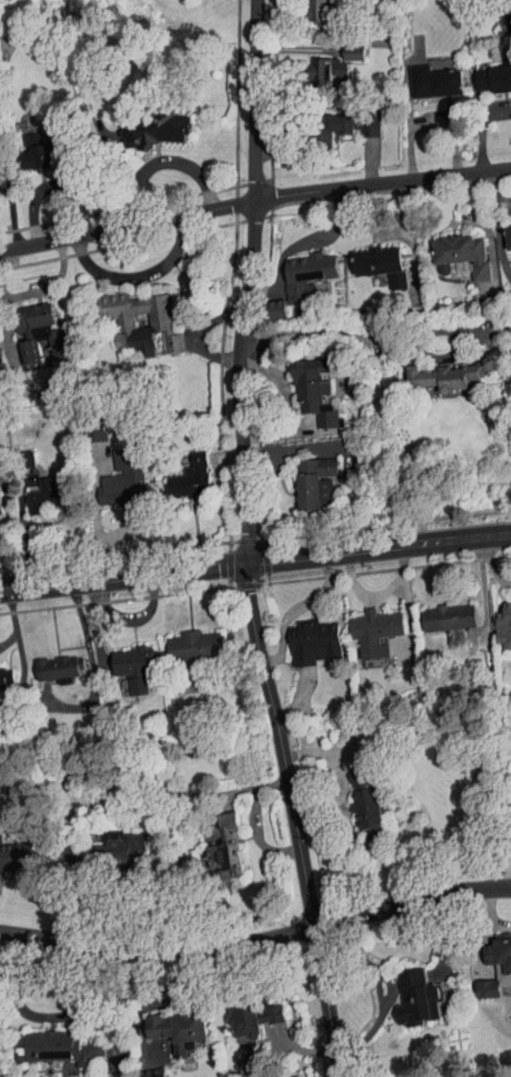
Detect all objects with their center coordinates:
building: (309, 7)
building: (343, 45)
building: (317, 61)
building: (487, 71)
building: (424, 74)
building: (340, 118)
building: (143, 121)
building: (27, 145)
road: (385, 181)
road: (130, 222)
building: (503, 229)
building: (451, 249)
building: (371, 258)
road: (124, 269)
building: (295, 271)
road: (250, 281)
building: (130, 316)
building: (29, 326)
road: (341, 330)
building: (449, 366)
building: (304, 383)
building: (181, 471)
building: (114, 472)
building: (307, 476)
building: (37, 489)
road: (254, 560)
traffic signals: (246, 563)
building: (439, 611)
building: (501, 615)
road: (12, 619)
building: (366, 625)
building: (304, 635)
building: (183, 639)
building: (49, 661)
building: (123, 661)
building: (1, 673)
building: (510, 782)
building: (356, 795)
road: (297, 818)
building: (212, 836)
building: (114, 839)
building: (11, 850)
road: (257, 942)
building: (492, 960)
building: (413, 991)
building: (246, 1014)
road: (48, 1016)
building: (168, 1020)
building: (50, 1042)
building: (143, 1070)

